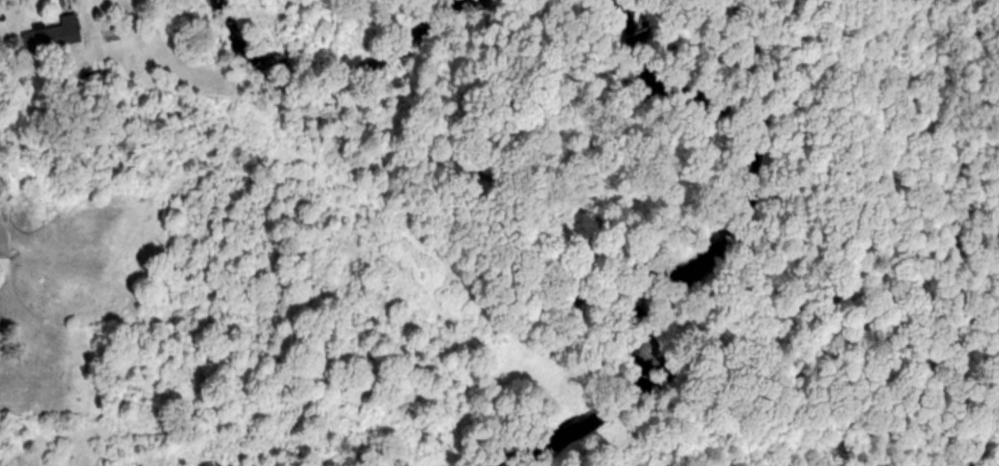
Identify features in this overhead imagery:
building: (54, 35)

